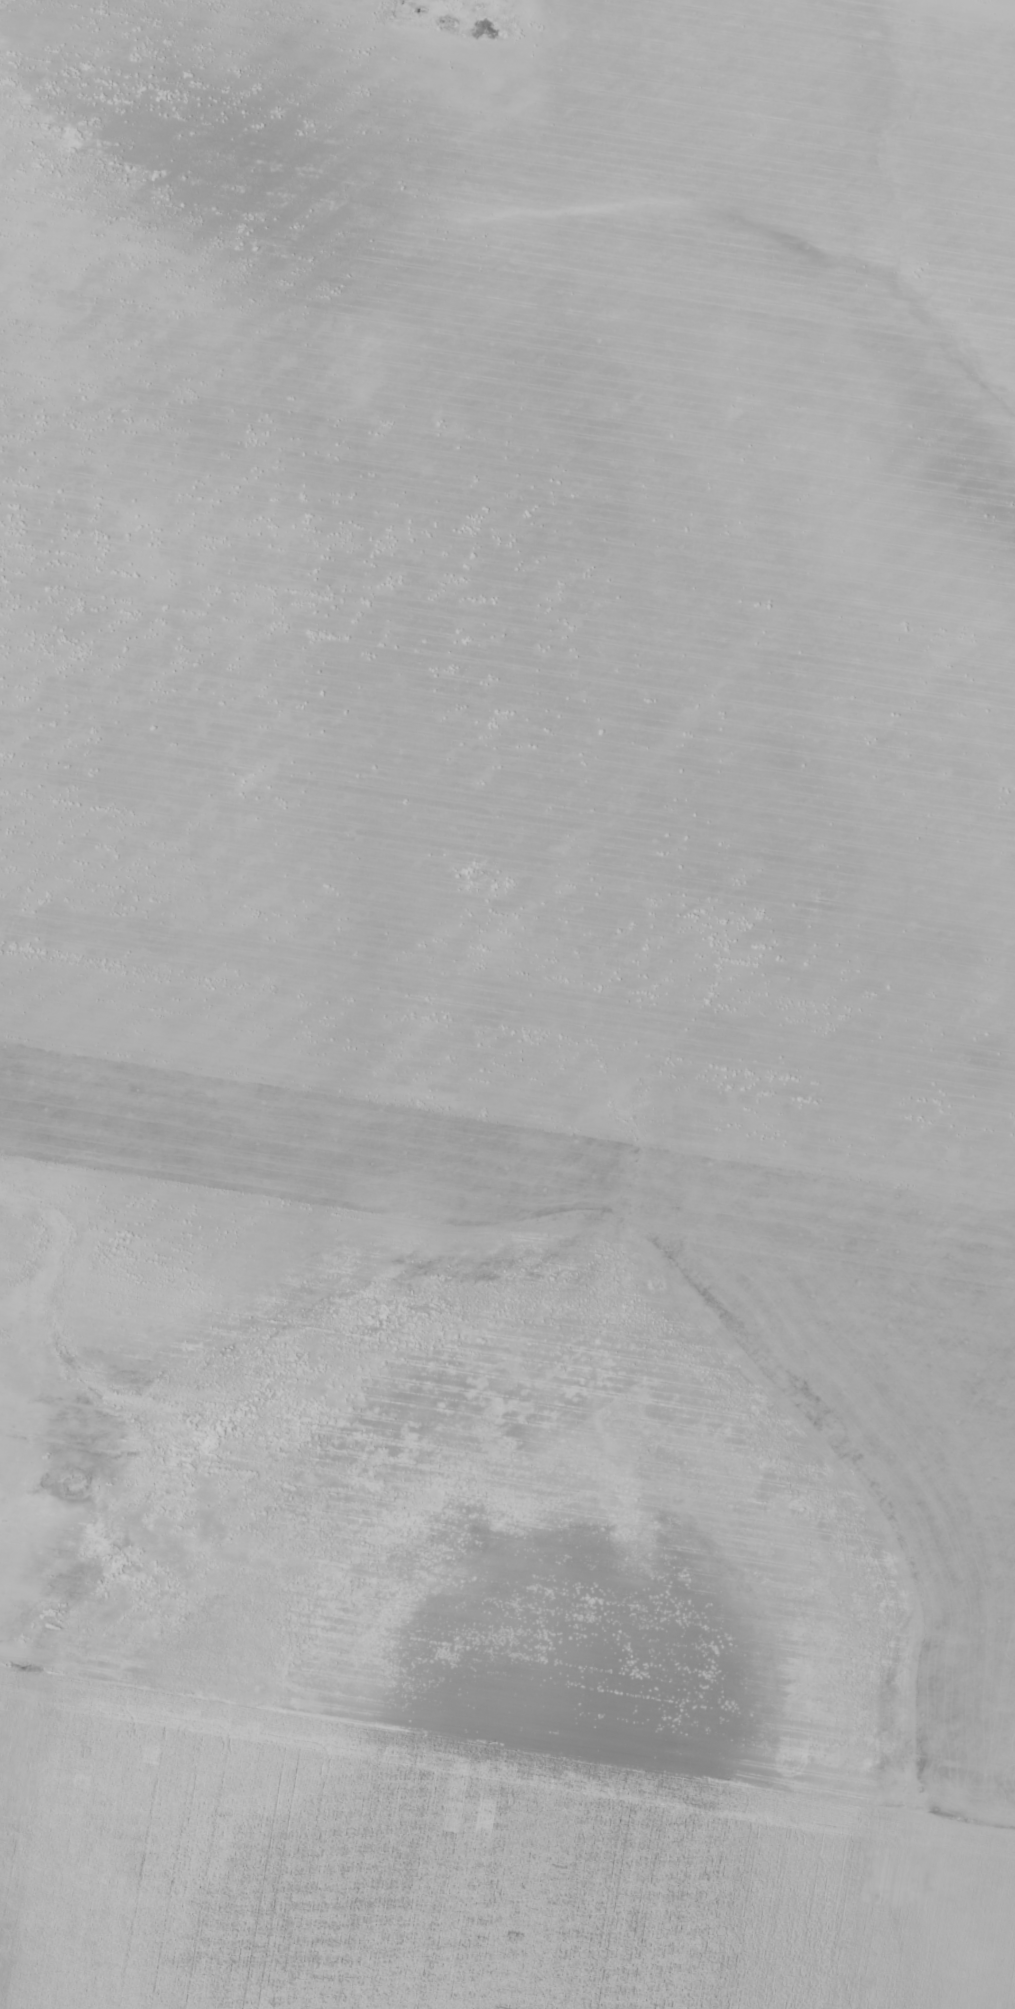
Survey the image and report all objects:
road: (507, 1726)

